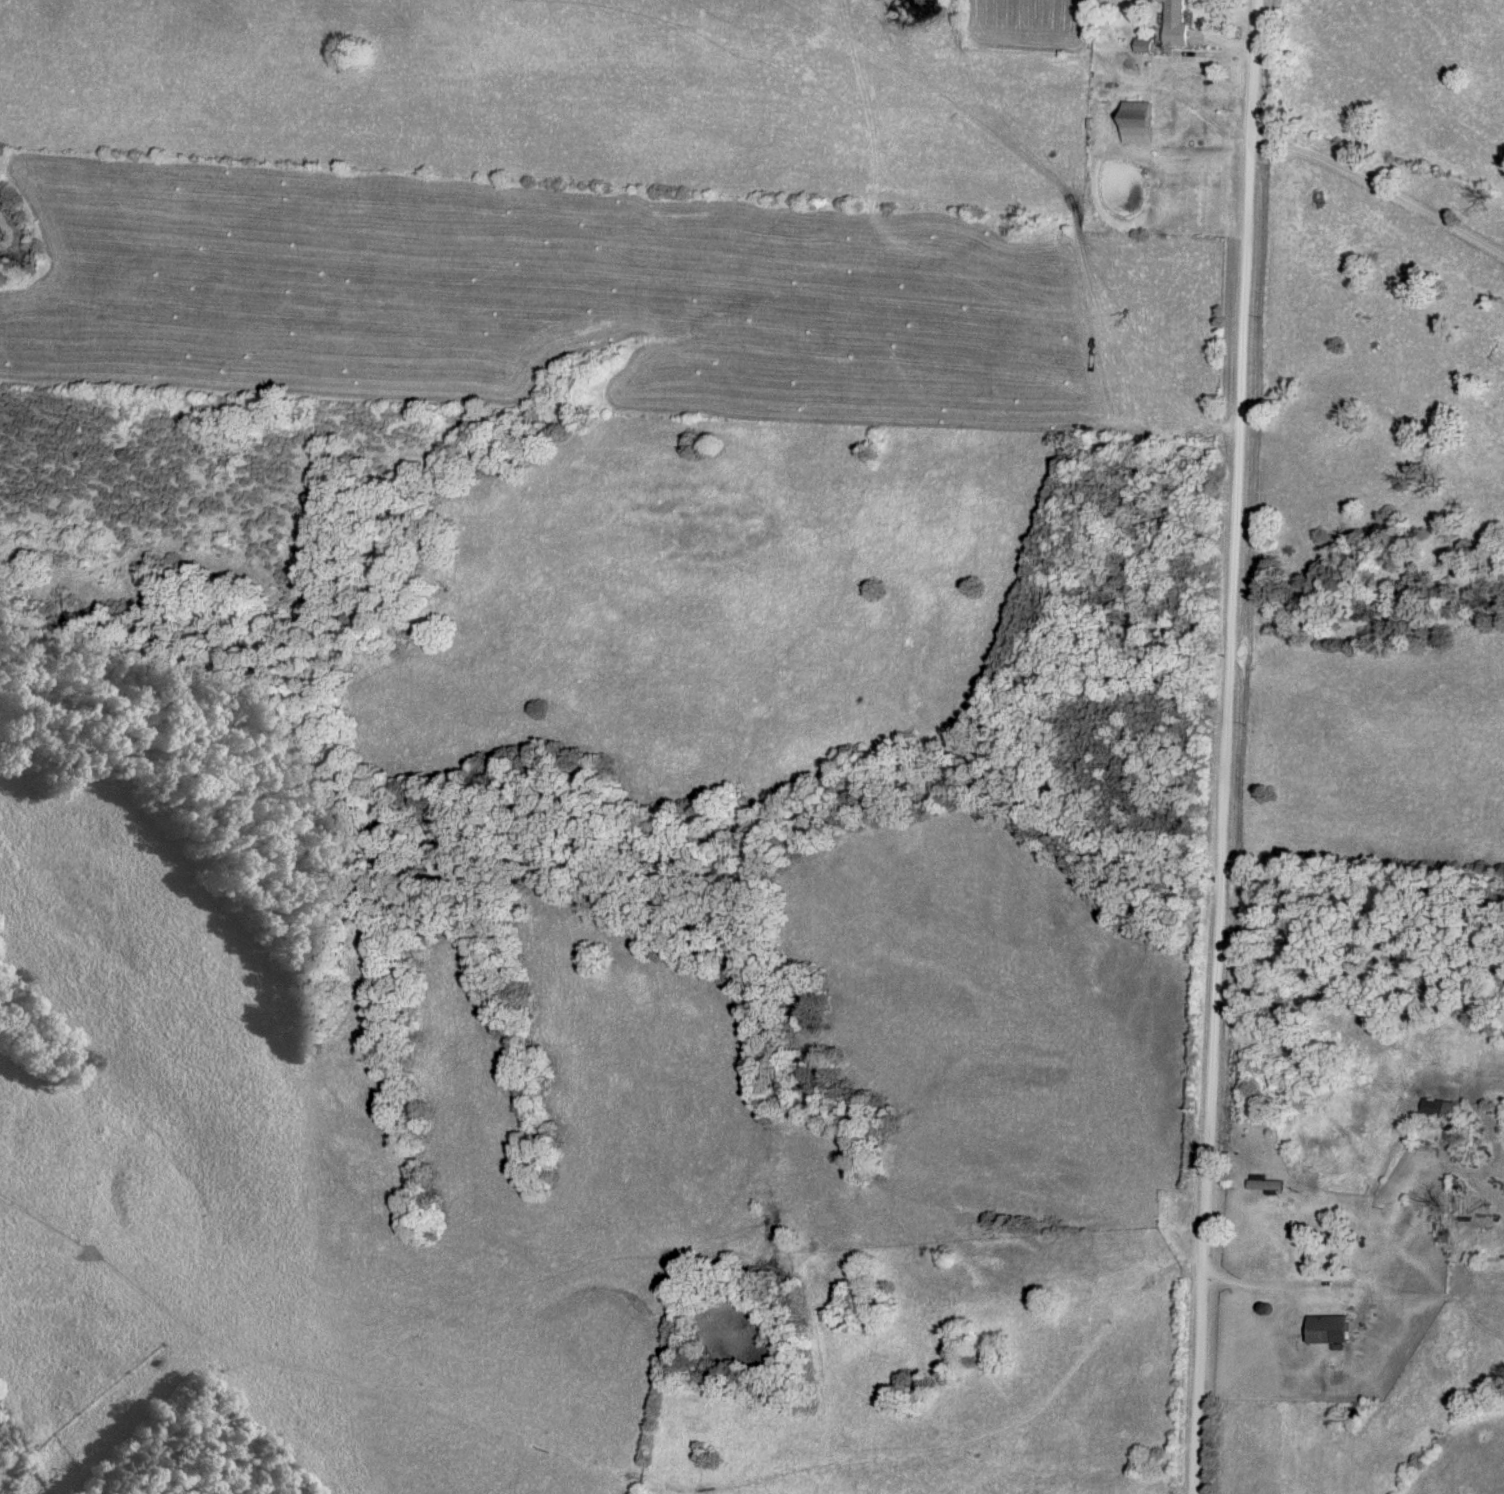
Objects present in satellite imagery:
building: (1175, 22)
building: (1144, 46)
building: (1135, 122)
road: (1380, 188)
road: (1225, 746)
building: (1438, 1109)
building: (1295, 1201)
road: (1318, 1285)
building: (1326, 1330)

